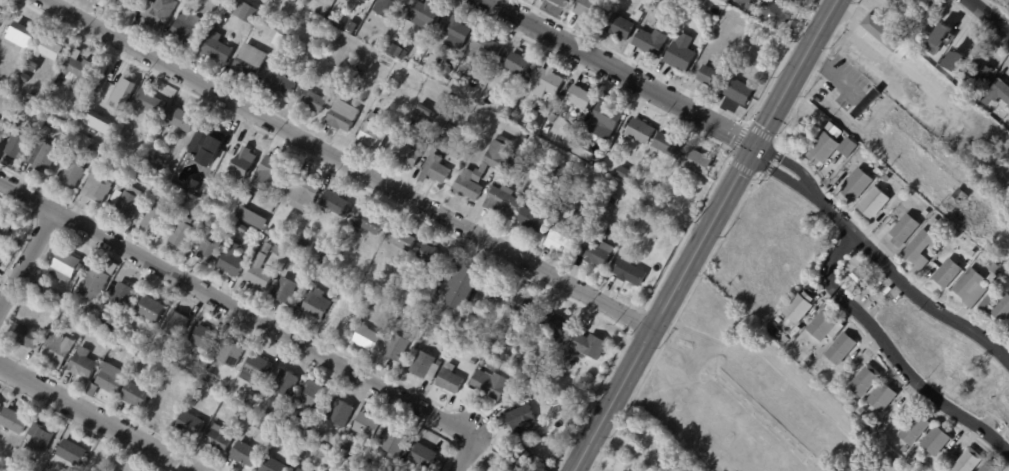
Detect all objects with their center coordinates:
building: (205, 0)
building: (351, 0)
building: (370, 0)
building: (797, 0)
building: (888, 0)
building: (789, 1)
building: (108, 2)
building: (560, 2)
building: (686, 2)
building: (746, 2)
building: (130, 3)
building: (704, 4)
building: (392, 7)
building: (589, 9)
building: (751, 9)
building: (929, 10)
building: (162, 11)
building: (249, 11)
building: (428, 13)
building: (775, 14)
building: (637, 15)
road: (990, 16)
building: (2, 17)
building: (687, 19)
building: (347, 21)
building: (282, 25)
building: (683, 25)
building: (354, 26)
building: (620, 27)
building: (193, 28)
building: (879, 32)
building: (461, 33)
building: (22, 34)
building: (650, 42)
building: (948, 42)
building: (29, 47)
building: (221, 47)
building: (319, 47)
building: (51, 48)
building: (488, 48)
building: (395, 49)
building: (680, 53)
building: (326, 54)
building: (407, 57)
building: (253, 60)
building: (521, 63)
building: (36, 64)
building: (18, 67)
building: (371, 67)
road: (889, 67)
building: (299, 69)
building: (981, 69)
building: (380, 71)
road: (796, 71)
building: (81, 72)
road: (621, 72)
building: (861, 72)
building: (440, 74)
building: (709, 77)
building: (547, 79)
building: (390, 80)
building: (283, 81)
building: (119, 84)
building: (389, 91)
building: (738, 92)
building: (997, 94)
building: (584, 96)
building: (316, 100)
building: (153, 101)
building: (453, 106)
building: (542, 106)
building: (508, 107)
building: (441, 110)
building: (1008, 112)
building: (518, 113)
building: (345, 116)
building: (183, 118)
building: (554, 118)
building: (607, 120)
building: (76, 121)
building: (82, 125)
building: (499, 127)
building: (453, 128)
building: (549, 128)
building: (63, 129)
building: (3, 130)
building: (645, 130)
building: (48, 131)
building: (376, 131)
building: (427, 132)
building: (151, 136)
building: (525, 136)
building: (571, 137)
building: (446, 139)
building: (210, 143)
building: (672, 143)
building: (21, 144)
traffic signals: (755, 144)
building: (434, 145)
building: (94, 147)
building: (831, 147)
building: (585, 151)
building: (414, 154)
building: (46, 155)
traffic signals: (747, 156)
building: (518, 157)
road: (783, 160)
building: (702, 161)
building: (125, 162)
building: (247, 163)
road: (348, 163)
building: (486, 168)
building: (439, 169)
building: (78, 170)
building: (877, 170)
building: (626, 171)
road: (774, 171)
building: (145, 172)
building: (273, 174)
building: (497, 178)
building: (887, 178)
building: (548, 181)
building: (856, 183)
building: (196, 185)
building: (100, 187)
building: (308, 191)
building: (579, 191)
building: (960, 195)
building: (130, 200)
building: (506, 200)
building: (174, 202)
building: (339, 202)
building: (873, 202)
building: (571, 207)
building: (580, 208)
building: (926, 213)
building: (159, 215)
building: (594, 215)
building: (256, 217)
building: (536, 217)
building: (935, 220)
building: (370, 221)
building: (8, 222)
building: (655, 225)
building: (244, 226)
building: (903, 229)
building: (186, 231)
building: (273, 231)
building: (564, 235)
building: (404, 238)
building: (306, 245)
building: (2, 247)
building: (213, 248)
building: (271, 248)
building: (919, 250)
building: (600, 251)
building: (283, 252)
building: (972, 253)
building: (433, 254)
road: (26, 259)
building: (235, 259)
building: (981, 260)
building: (305, 261)
building: (68, 266)
building: (995, 268)
building: (633, 270)
building: (263, 272)
building: (945, 274)
building: (856, 275)
road: (900, 278)
building: (342, 279)
building: (100, 280)
building: (466, 286)
building: (969, 287)
building: (287, 289)
building: (497, 289)
building: (128, 294)
building: (362, 295)
building: (320, 302)
building: (986, 302)
building: (528, 306)
building: (106, 307)
road: (662, 307)
building: (798, 307)
building: (154, 309)
road: (237, 309)
building: (91, 310)
building: (1000, 310)
building: (345, 314)
building: (782, 316)
building: (78, 318)
building: (779, 320)
building: (144, 322)
building: (179, 323)
building: (562, 324)
building: (1008, 324)
building: (821, 325)
building: (1008, 331)
building: (503, 332)
building: (542, 334)
building: (149, 335)
building: (32, 336)
building: (370, 337)
building: (210, 340)
building: (445, 342)
building: (593, 344)
building: (840, 348)
building: (61, 349)
building: (399, 349)
building: (553, 350)
road: (893, 352)
building: (235, 353)
building: (570, 354)
building: (475, 360)
building: (809, 361)
building: (86, 362)
building: (488, 363)
building: (497, 365)
building: (429, 366)
building: (260, 369)
building: (212, 375)
building: (114, 377)
building: (188, 378)
building: (865, 380)
building: (453, 381)
building: (288, 383)
building: (495, 384)
building: (96, 389)
building: (535, 392)
building: (139, 393)
building: (318, 394)
building: (474, 395)
building: (882, 396)
building: (525, 397)
building: (255, 400)
building: (172, 401)
building: (854, 402)
building: (2, 407)
building: (863, 410)
building: (344, 412)
building: (276, 413)
building: (246, 415)
building: (527, 417)
road: (97, 418)
building: (16, 420)
building: (305, 422)
building: (193, 423)
building: (263, 425)
building: (370, 425)
building: (914, 429)
building: (287, 434)
building: (44, 437)
road: (618, 437)
building: (221, 438)
building: (935, 440)
building: (397, 442)
building: (653, 443)
building: (319, 449)
building: (904, 449)
building: (76, 451)
building: (249, 453)
building: (353, 454)
road: (466, 454)
building: (426, 456)
building: (913, 456)
park: (118, 458)
building: (523, 458)
road: (606, 458)
building: (967, 461)
building: (276, 462)
building: (686, 466)
building: (988, 467)
building: (298, 469)
building: (382, 469)
building: (502, 469)
building: (66, 470)
building: (343, 470)
building: (672, 470)

